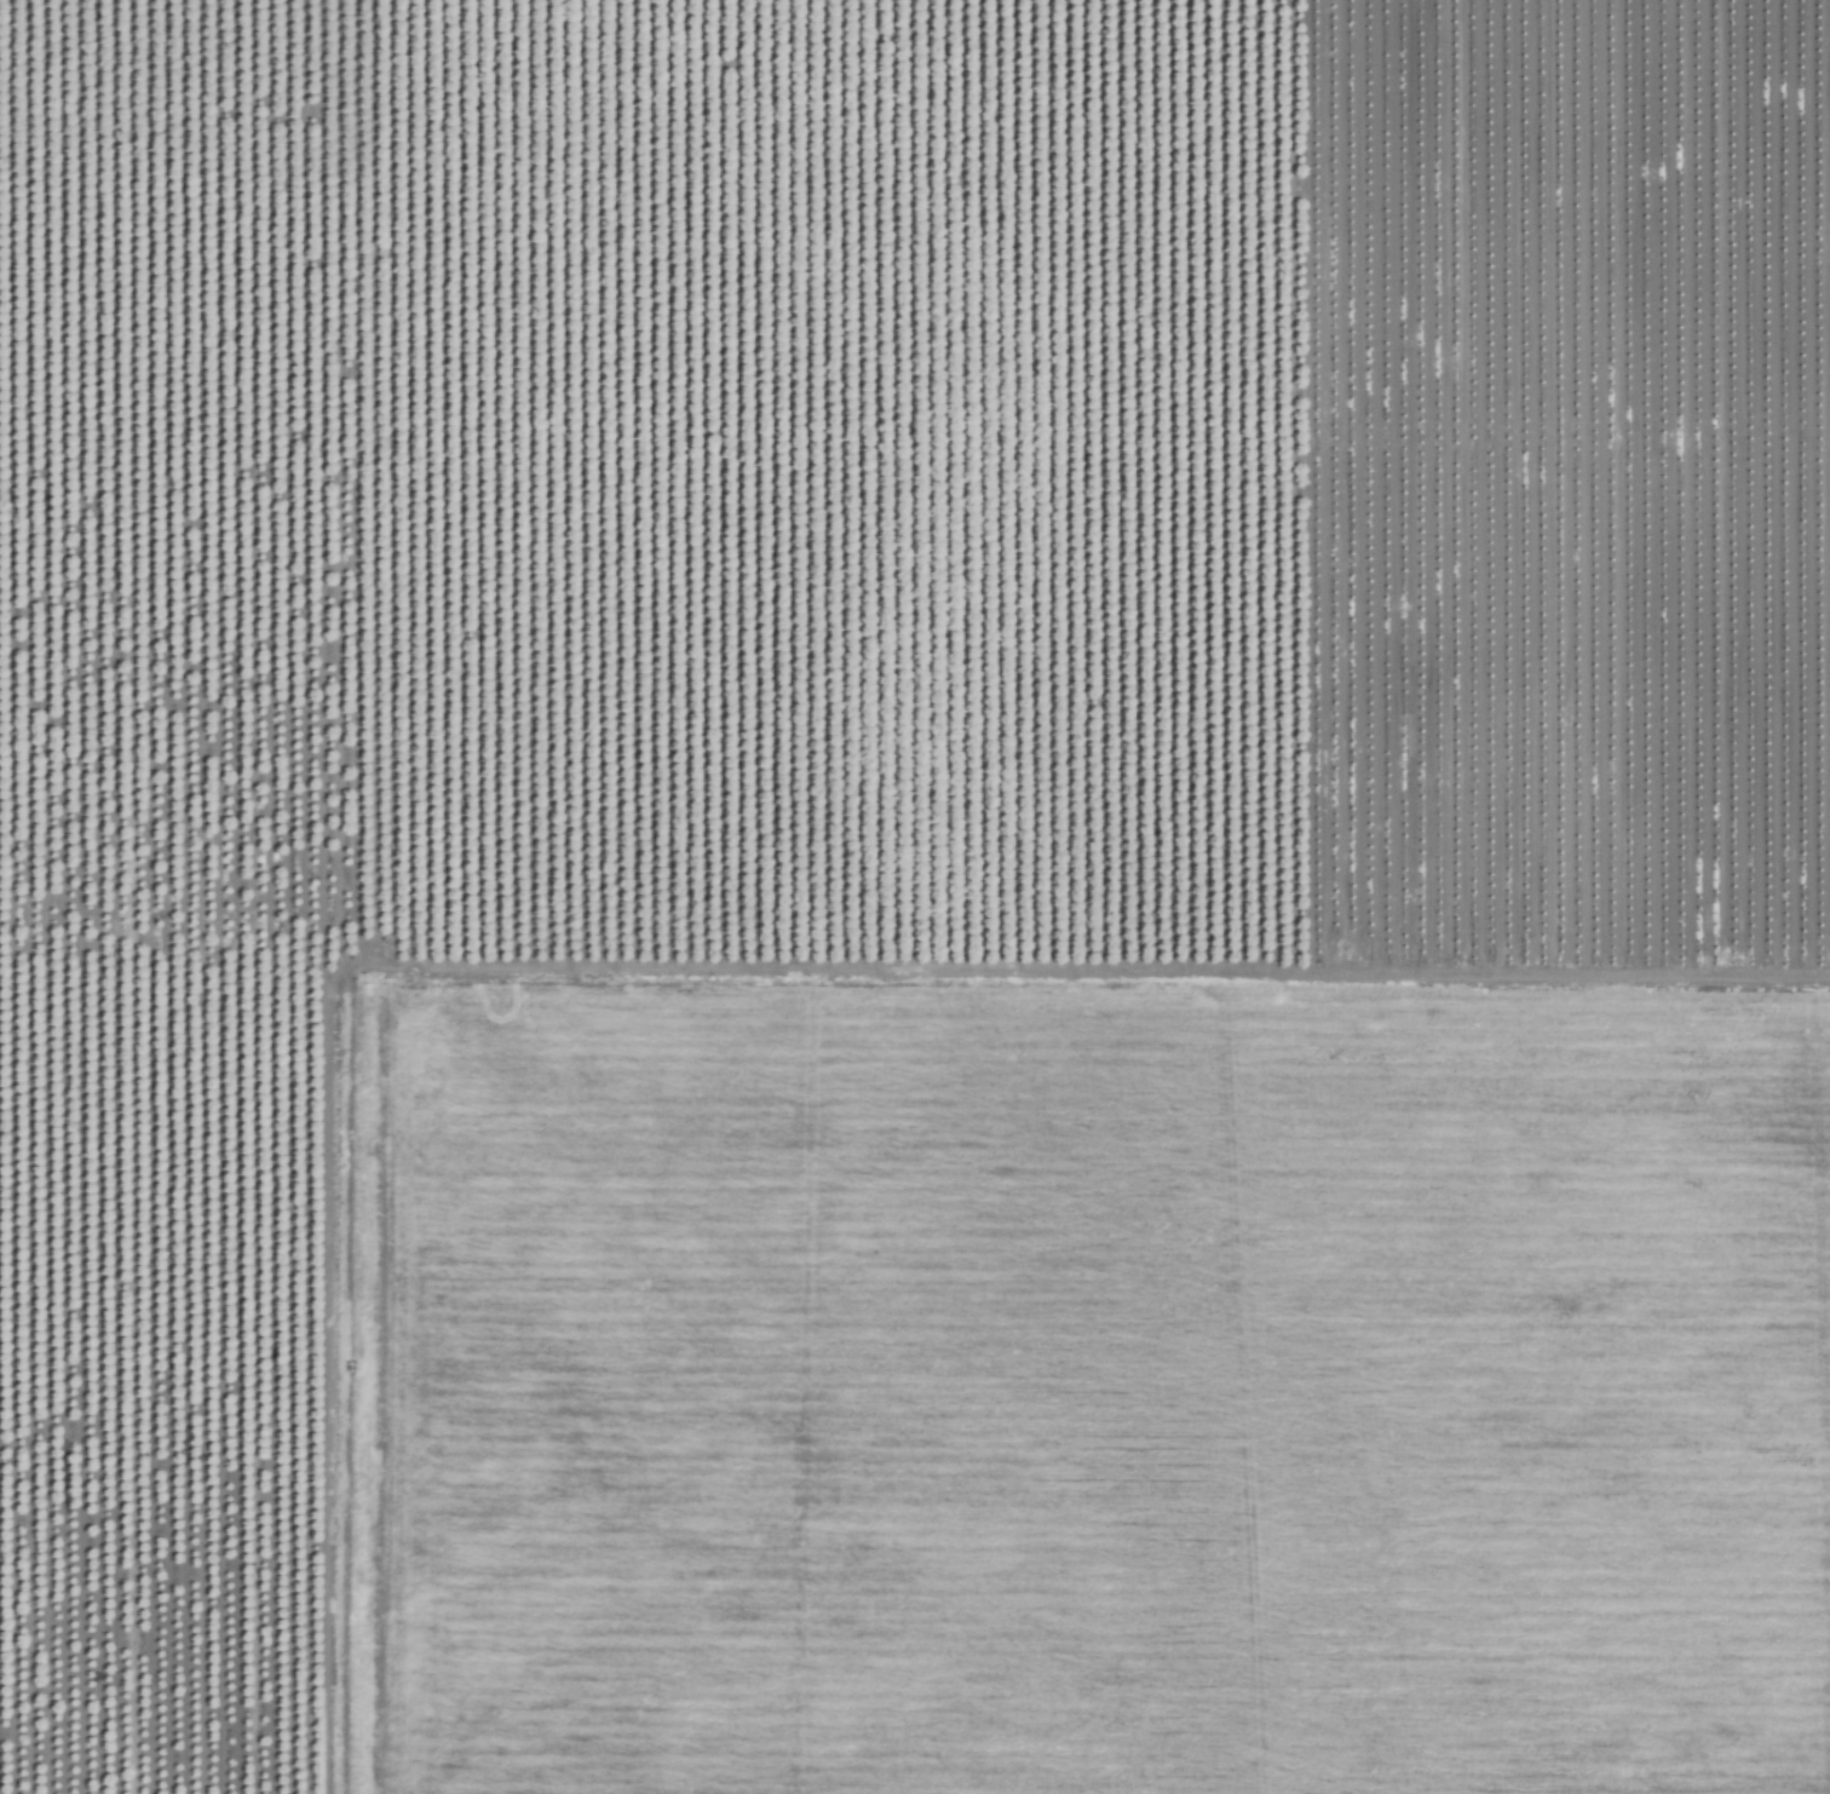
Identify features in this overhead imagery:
road: (180, 137)
road: (362, 660)

